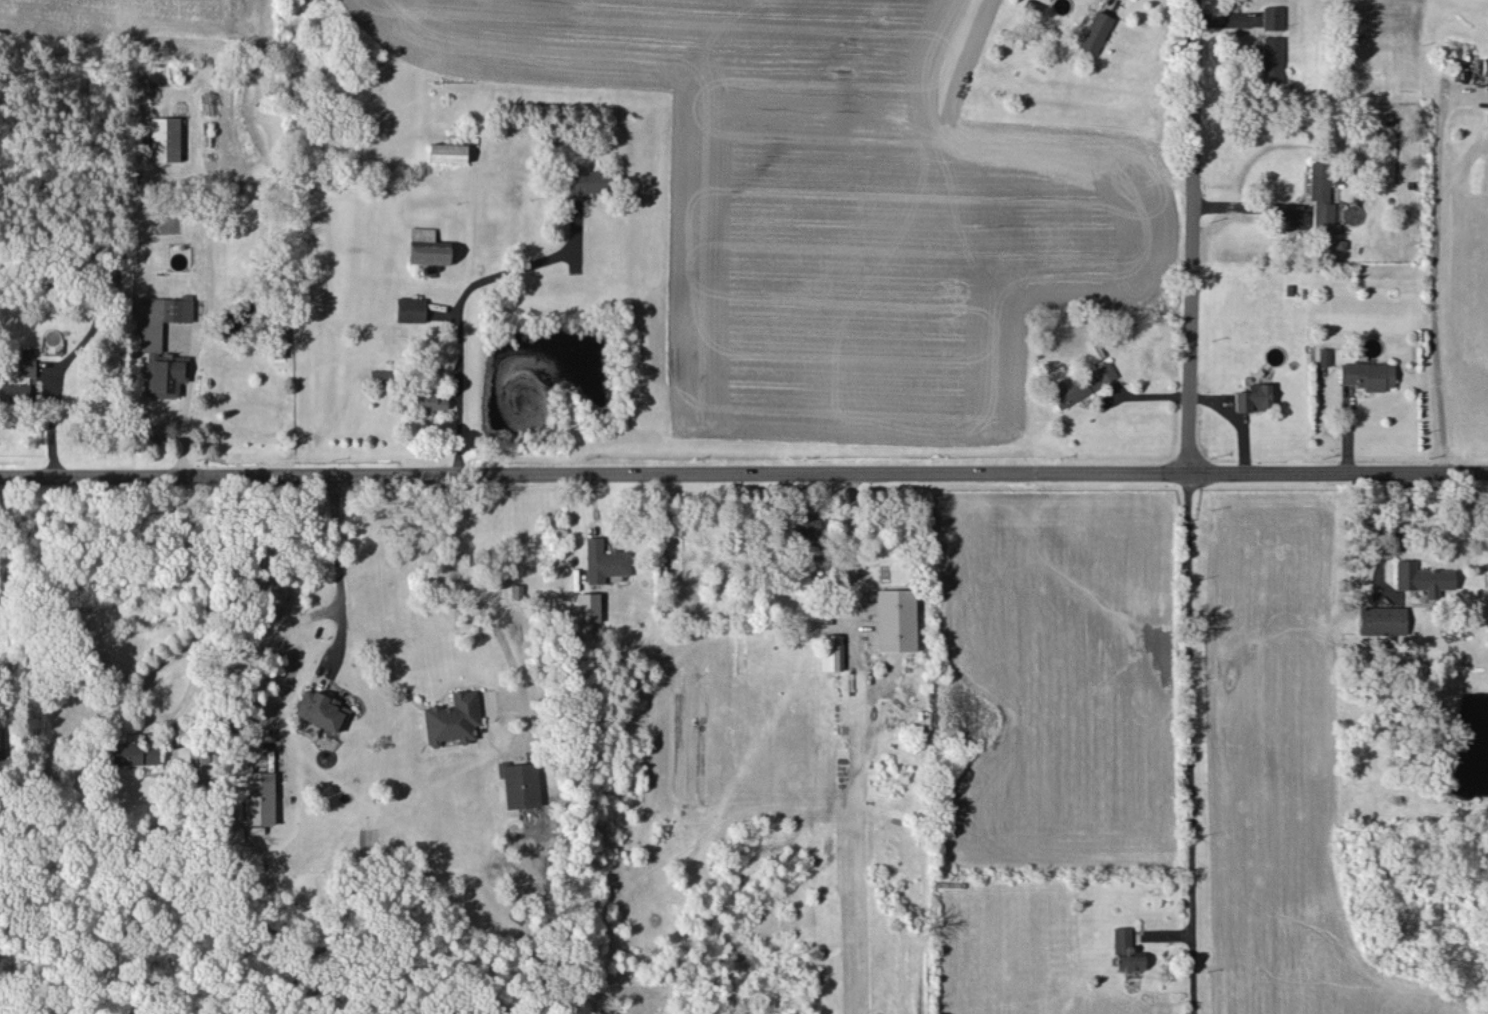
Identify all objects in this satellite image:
road: (1113, 4)
road: (1176, 10)
building: (1272, 17)
building: (1094, 32)
building: (1271, 58)
building: (1484, 66)
building: (164, 139)
building: (446, 152)
building: (588, 182)
building: (1323, 196)
road: (1245, 207)
road: (1191, 235)
building: (426, 247)
road: (1436, 274)
road: (455, 304)
building: (410, 309)
building: (161, 318)
building: (26, 352)
building: (1324, 356)
building: (26, 367)
building: (166, 375)
building: (380, 375)
building: (1366, 375)
building: (1083, 384)
building: (14, 392)
building: (1252, 397)
building: (428, 401)
road: (179, 420)
road: (53, 422)
road: (743, 472)
building: (807, 529)
road: (336, 558)
building: (604, 561)
road: (851, 561)
building: (1423, 578)
road: (468, 586)
building: (587, 607)
building: (896, 620)
building: (1382, 620)
road: (247, 649)
building: (830, 652)
building: (320, 710)
building: (451, 719)
road: (1190, 743)
building: (134, 753)
building: (194, 760)
building: (520, 784)
building: (258, 798)
building: (1126, 951)

